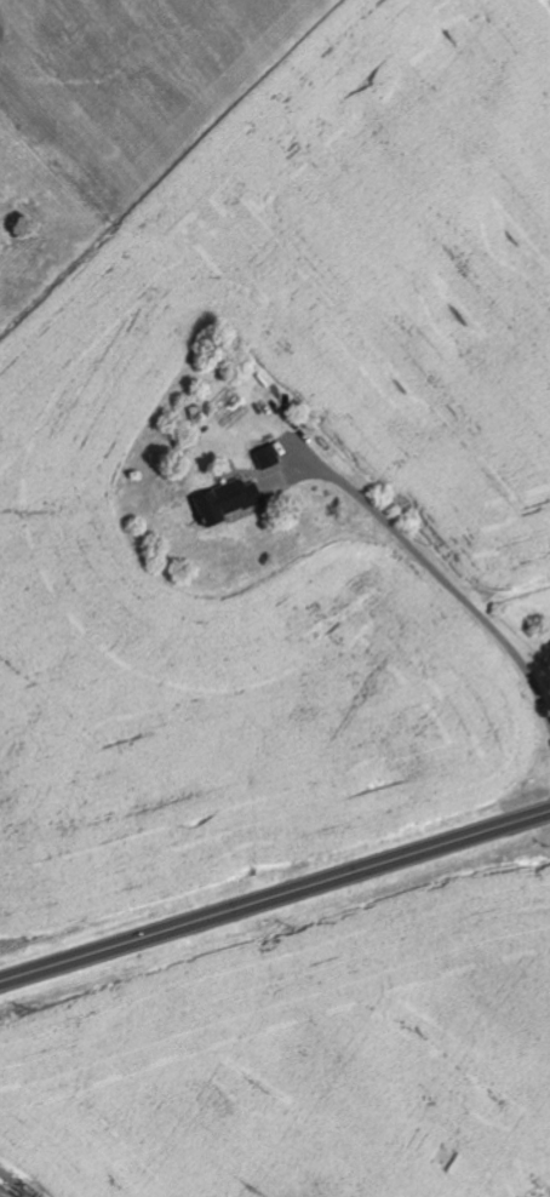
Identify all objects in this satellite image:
building: (268, 457)
building: (229, 500)
road: (275, 895)

